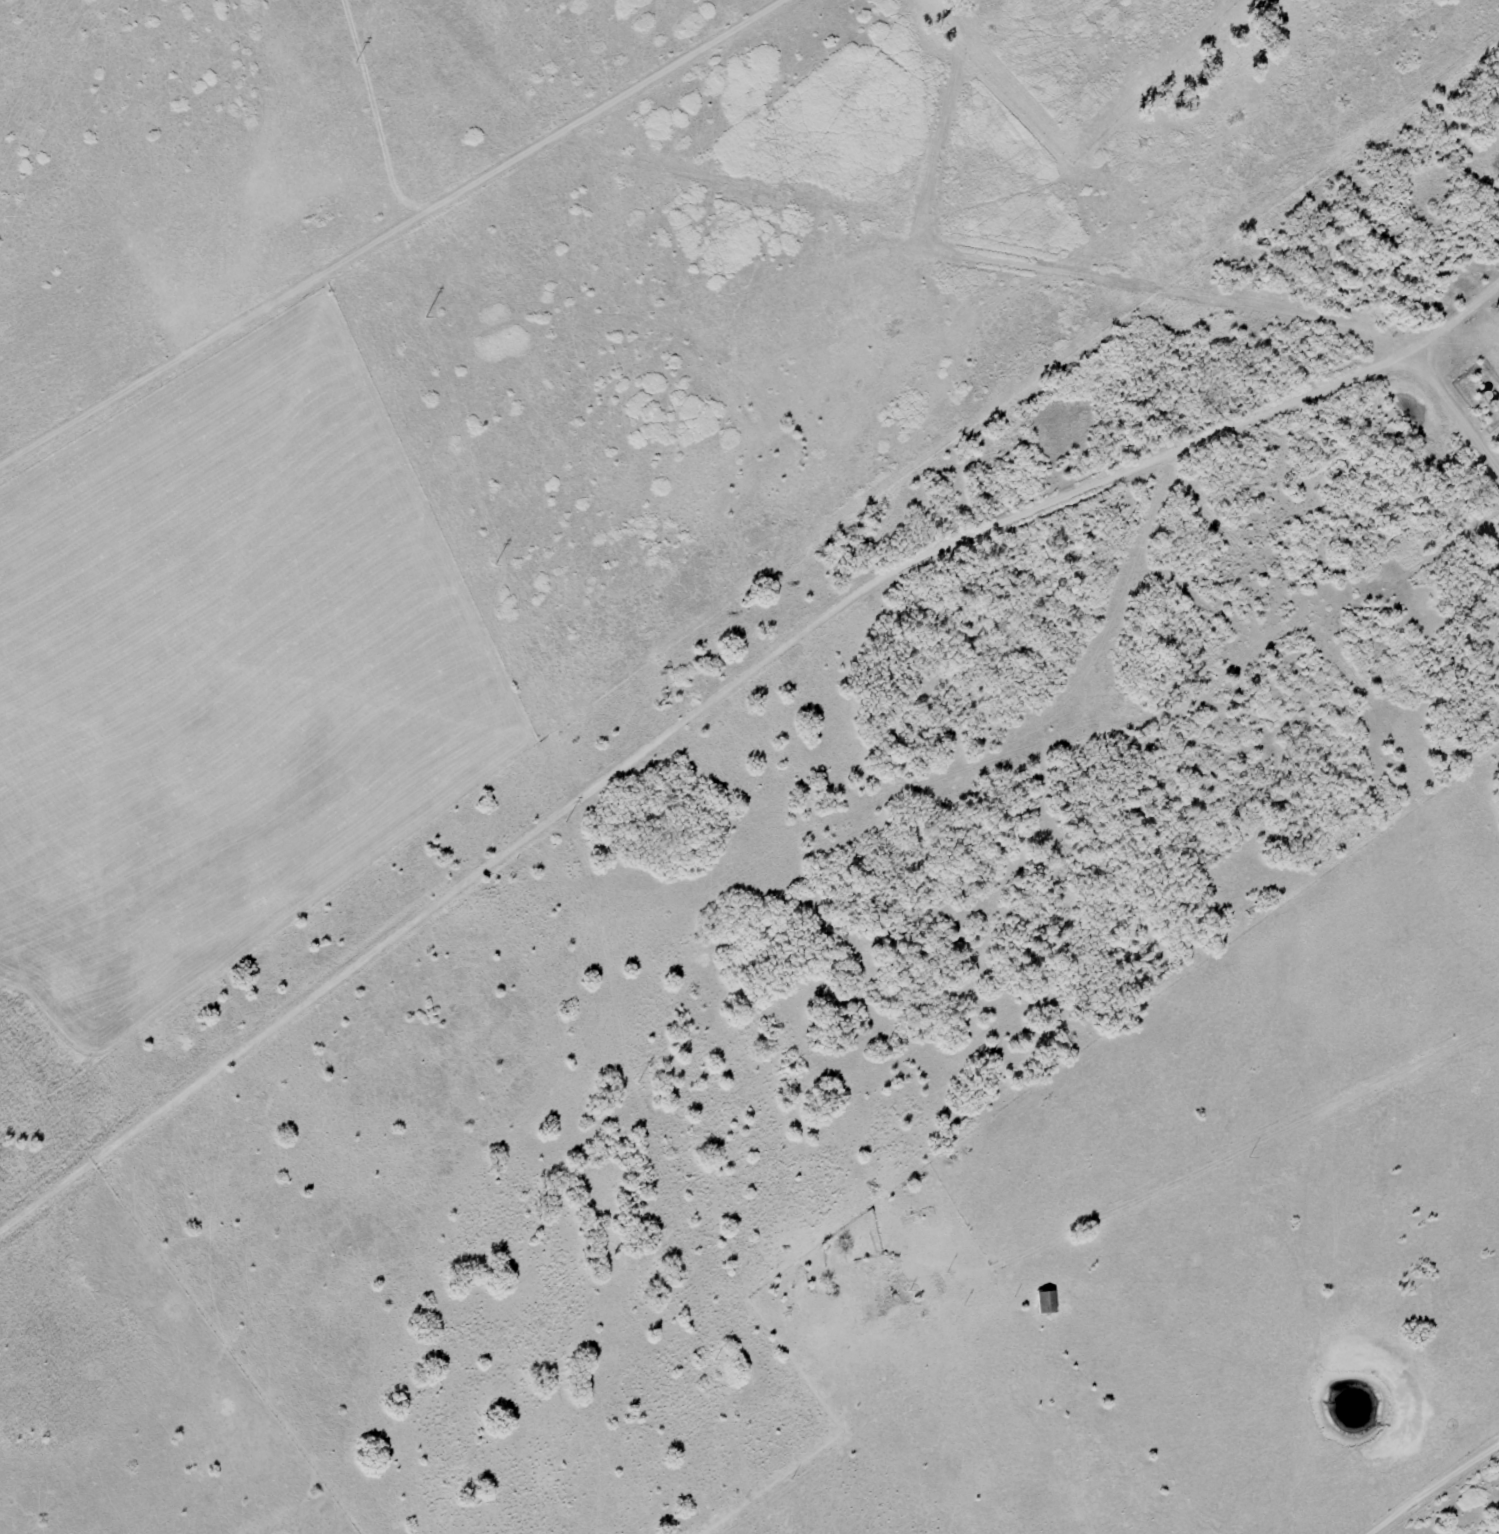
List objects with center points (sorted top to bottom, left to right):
road: (1432, 1486)

